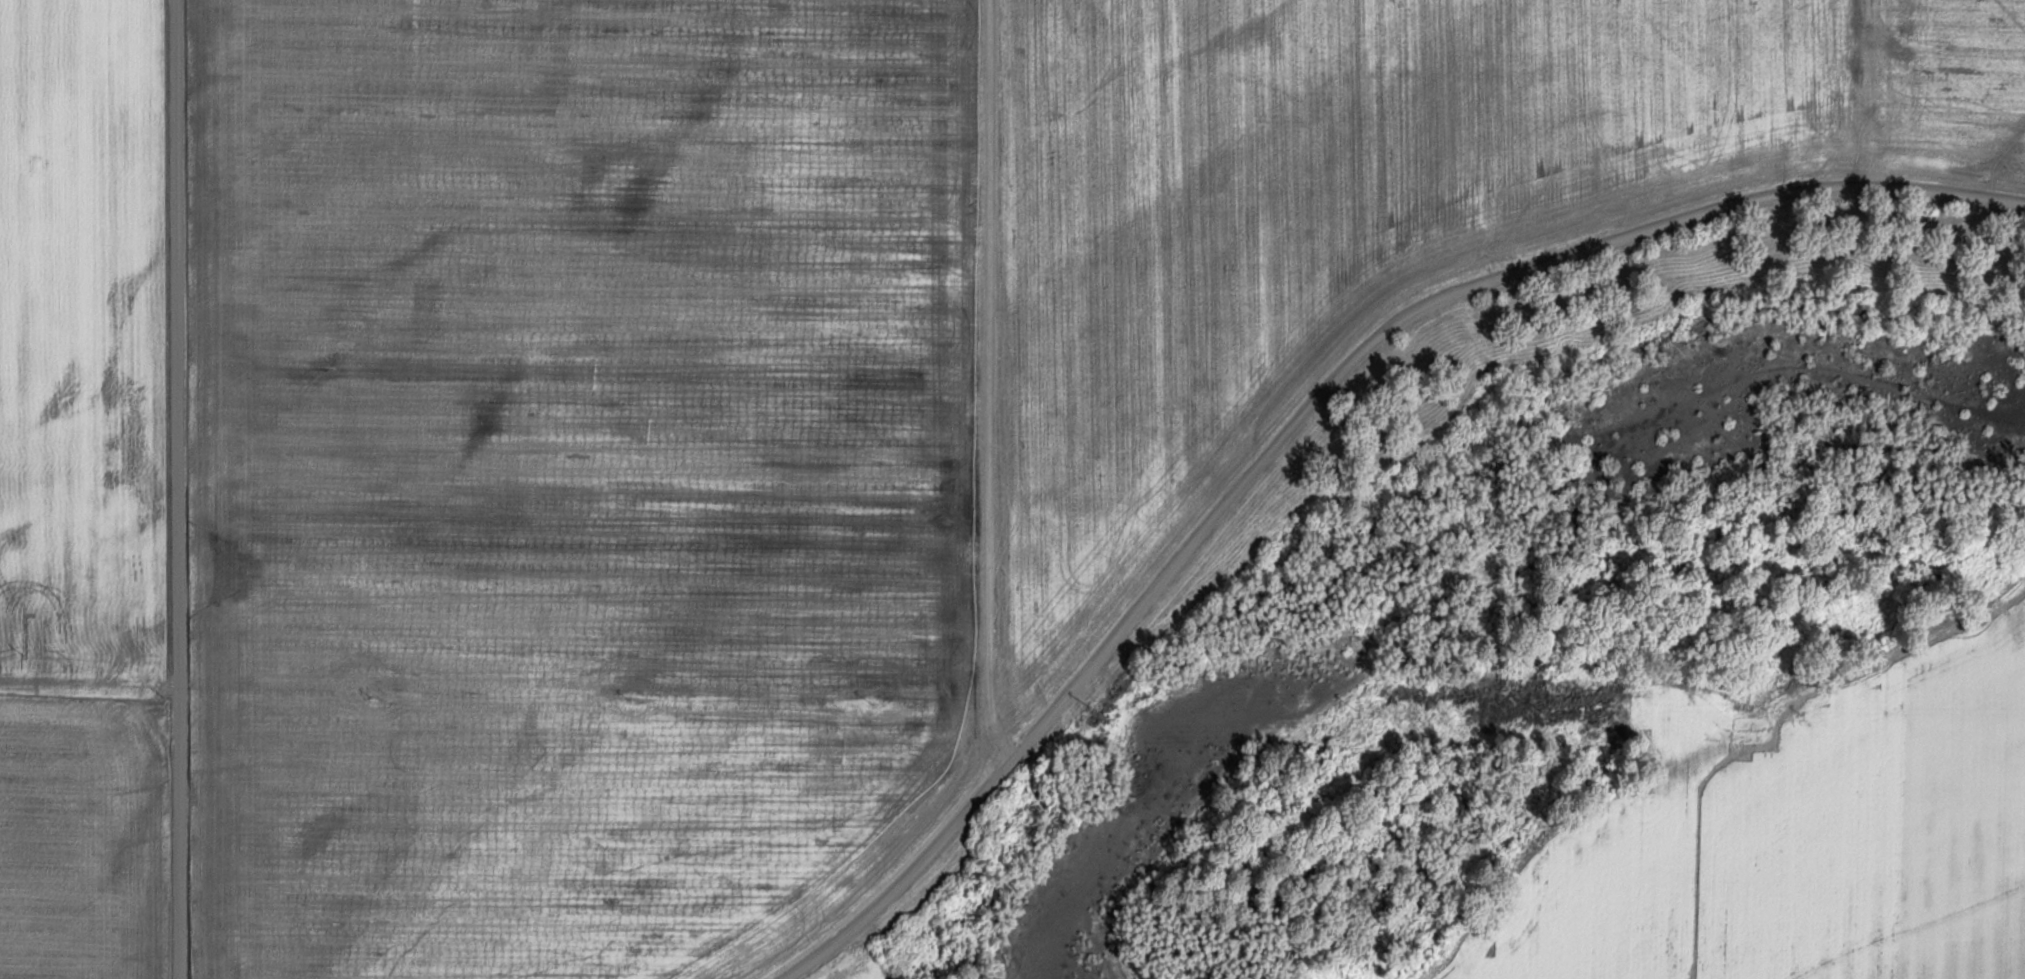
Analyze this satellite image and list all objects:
road: (993, 382)
road: (1310, 405)
road: (181, 489)

